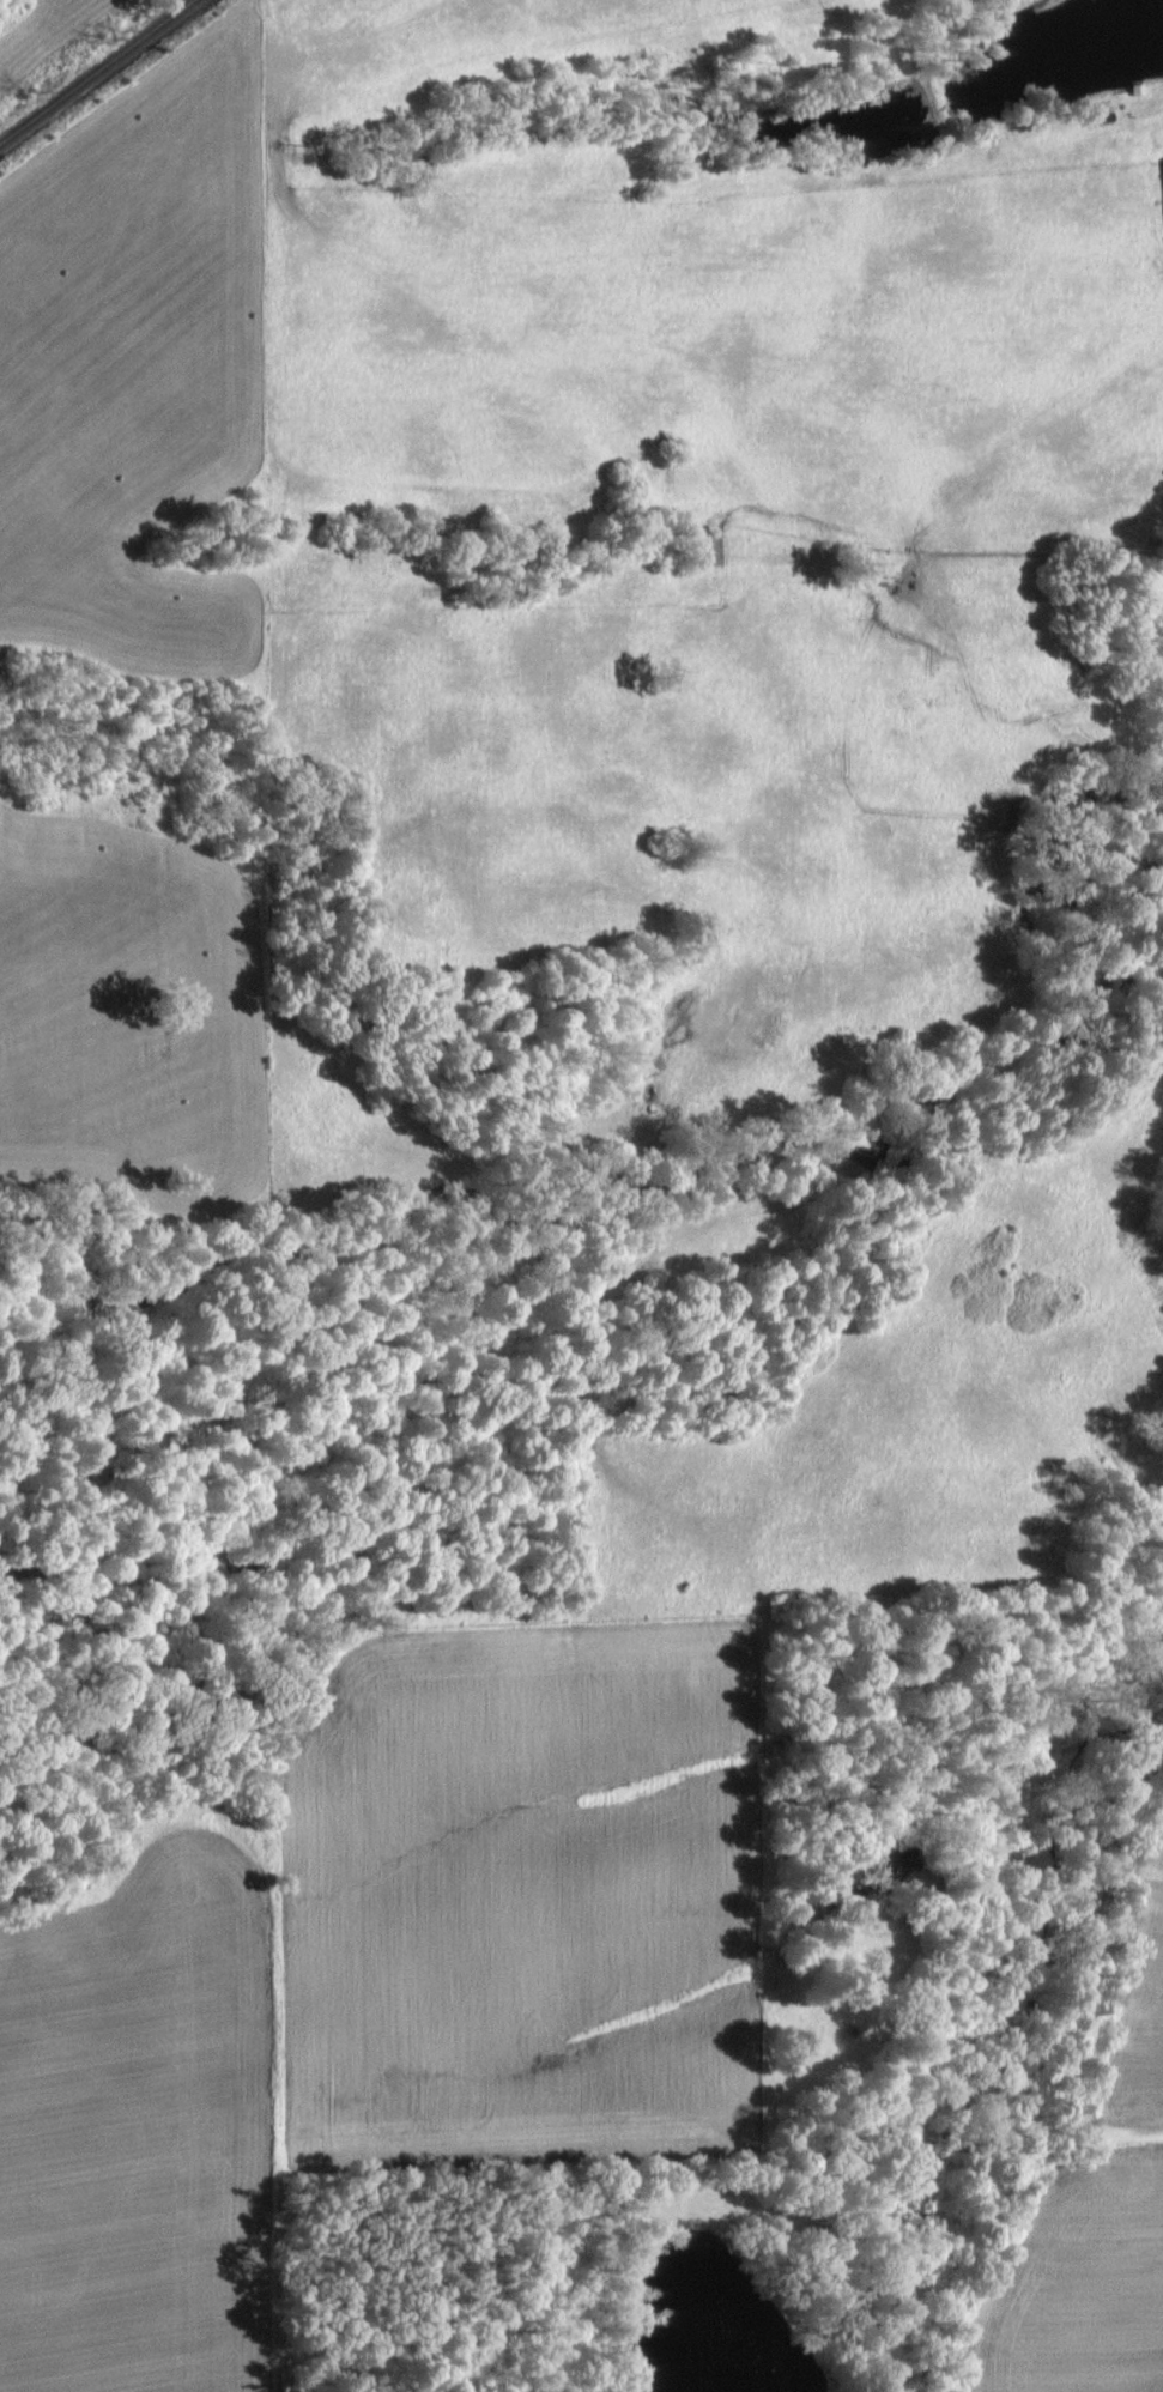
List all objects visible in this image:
railway: (97, 72)

